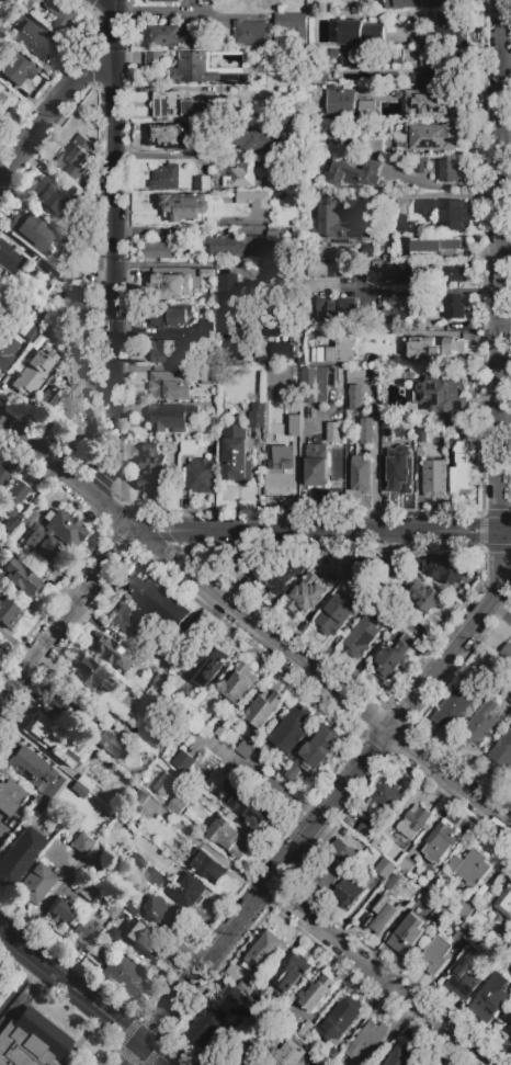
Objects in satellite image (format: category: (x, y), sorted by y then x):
building: (167, 1)
building: (10, 2)
building: (413, 4)
building: (30, 7)
road: (101, 9)
building: (59, 14)
road: (182, 14)
building: (295, 26)
building: (361, 32)
building: (252, 33)
building: (173, 36)
building: (452, 38)
building: (33, 41)
building: (364, 60)
building: (155, 61)
building: (15, 67)
building: (213, 67)
building: (438, 68)
building: (389, 77)
road: (56, 94)
building: (4, 98)
building: (340, 104)
building: (432, 104)
building: (181, 105)
building: (367, 109)
building: (389, 110)
building: (452, 132)
building: (203, 133)
building: (166, 135)
road: (506, 136)
building: (256, 138)
building: (413, 141)
building: (354, 143)
building: (375, 147)
road: (157, 156)
building: (75, 158)
building: (419, 167)
building: (450, 170)
building: (354, 174)
building: (240, 177)
building: (166, 179)
building: (202, 185)
road: (423, 195)
building: (254, 200)
building: (55, 201)
building: (183, 208)
building: (399, 213)
building: (454, 215)
building: (339, 223)
building: (29, 228)
road: (169, 230)
road: (506, 242)
building: (241, 246)
building: (436, 246)
building: (157, 250)
road: (114, 251)
building: (10, 257)
road: (181, 263)
road: (500, 267)
building: (329, 272)
building: (452, 272)
building: (394, 273)
building: (273, 274)
building: (198, 276)
building: (1, 284)
building: (234, 284)
road: (424, 292)
building: (168, 294)
building: (455, 306)
building: (75, 309)
building: (340, 311)
building: (170, 318)
building: (396, 319)
building: (228, 322)
building: (206, 327)
building: (32, 330)
road: (154, 332)
building: (206, 343)
building: (336, 349)
building: (431, 349)
building: (7, 350)
building: (281, 350)
building: (169, 352)
building: (34, 372)
building: (353, 372)
building: (211, 378)
building: (316, 384)
building: (169, 385)
building: (439, 393)
building: (355, 397)
building: (68, 401)
building: (277, 407)
building: (257, 412)
building: (171, 417)
building: (387, 426)
building: (454, 426)
building: (367, 432)
building: (420, 435)
building: (338, 441)
building: (189, 447)
building: (237, 454)
road: (374, 456)
building: (316, 465)
building: (459, 467)
building: (152, 469)
building: (400, 471)
building: (280, 472)
road: (64, 473)
building: (360, 474)
building: (2, 477)
building: (202, 479)
building: (434, 479)
building: (11, 496)
building: (27, 518)
road: (162, 525)
building: (10, 526)
road: (351, 533)
road: (508, 533)
road: (172, 535)
building: (53, 536)
road: (117, 542)
road: (126, 546)
road: (507, 550)
road: (185, 551)
road: (96, 571)
building: (444, 571)
road: (503, 575)
building: (277, 576)
building: (21, 577)
building: (336, 580)
building: (306, 597)
building: (427, 598)
building: (163, 604)
road: (499, 611)
building: (7, 613)
building: (334, 616)
building: (398, 620)
building: (127, 622)
building: (363, 635)
road: (43, 639)
building: (169, 644)
building: (107, 650)
building: (507, 653)
building: (394, 657)
building: (207, 665)
building: (91, 675)
road: (319, 677)
building: (160, 684)
building: (239, 684)
building: (479, 694)
building: (101, 696)
building: (510, 701)
building: (171, 703)
building: (66, 706)
building: (264, 710)
building: (452, 711)
building: (42, 723)
building: (479, 725)
building: (292, 730)
building: (223, 733)
building: (156, 739)
building: (111, 744)
building: (245, 749)
building: (315, 751)
building: (502, 754)
building: (84, 757)
building: (261, 757)
building: (11, 760)
building: (183, 762)
building: (31, 773)
building: (163, 785)
building: (9, 796)
building: (387, 797)
building: (136, 801)
building: (246, 804)
building: (75, 805)
building: (177, 807)
building: (29, 820)
building: (413, 822)
road: (316, 823)
building: (53, 828)
building: (365, 829)
building: (228, 836)
building: (126, 837)
building: (81, 842)
building: (382, 843)
building: (440, 843)
building: (135, 861)
building: (331, 866)
building: (406, 866)
building: (470, 866)
building: (211, 868)
building: (10, 869)
building: (384, 870)
building: (155, 879)
building: (34, 884)
building: (390, 885)
building: (434, 887)
building: (87, 890)
building: (191, 893)
building: (349, 893)
building: (504, 904)
building: (132, 907)
building: (112, 910)
building: (465, 910)
building: (60, 913)
building: (388, 913)
building: (161, 914)
building: (442, 916)
building: (479, 920)
building: (84, 929)
building: (112, 936)
building: (407, 936)
building: (465, 937)
building: (146, 941)
building: (102, 951)
building: (265, 951)
building: (436, 955)
building: (292, 974)
building: (125, 975)
building: (466, 975)
road: (383, 976)
road: (20, 985)
building: (246, 989)
building: (317, 992)
road: (22, 994)
building: (261, 994)
building: (234, 995)
road: (83, 997)
building: (490, 998)
building: (340, 1020)
building: (507, 1021)
building: (207, 1026)
building: (304, 1028)
building: (507, 1029)
building: (32, 1041)
building: (229, 1042)
building: (367, 1043)
traffic signals: (144, 1045)
building: (251, 1054)
building: (308, 1055)
building: (332, 1056)
building: (402, 1056)
building: (281, 1058)
building: (447, 1064)

